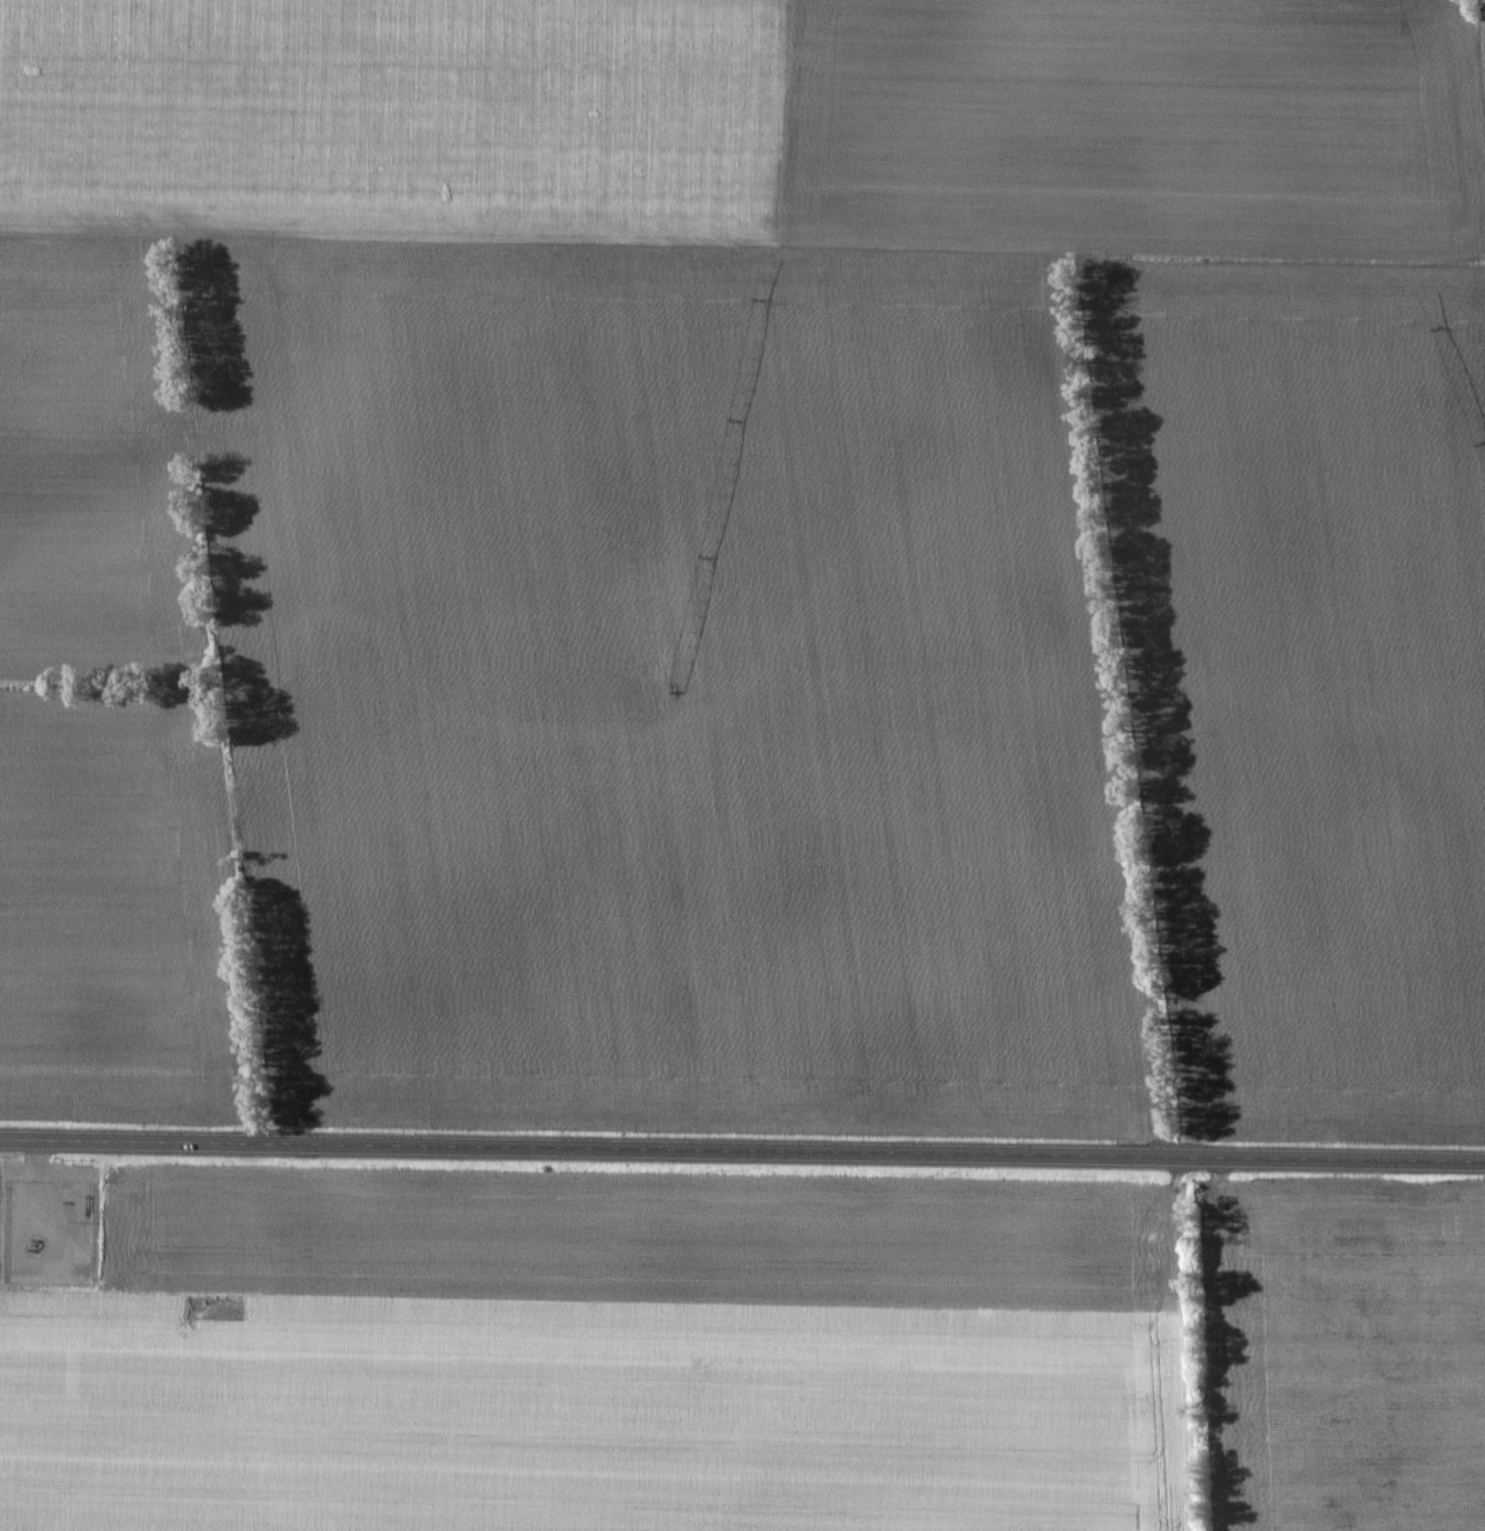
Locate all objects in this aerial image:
road: (742, 1150)

